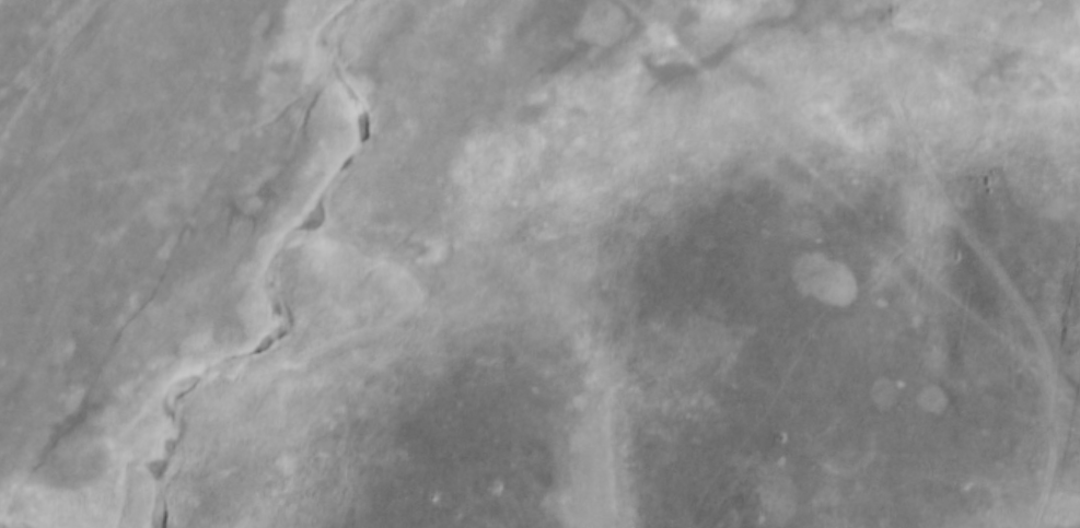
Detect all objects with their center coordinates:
road: (944, 24)
road: (73, 79)
road: (987, 253)

